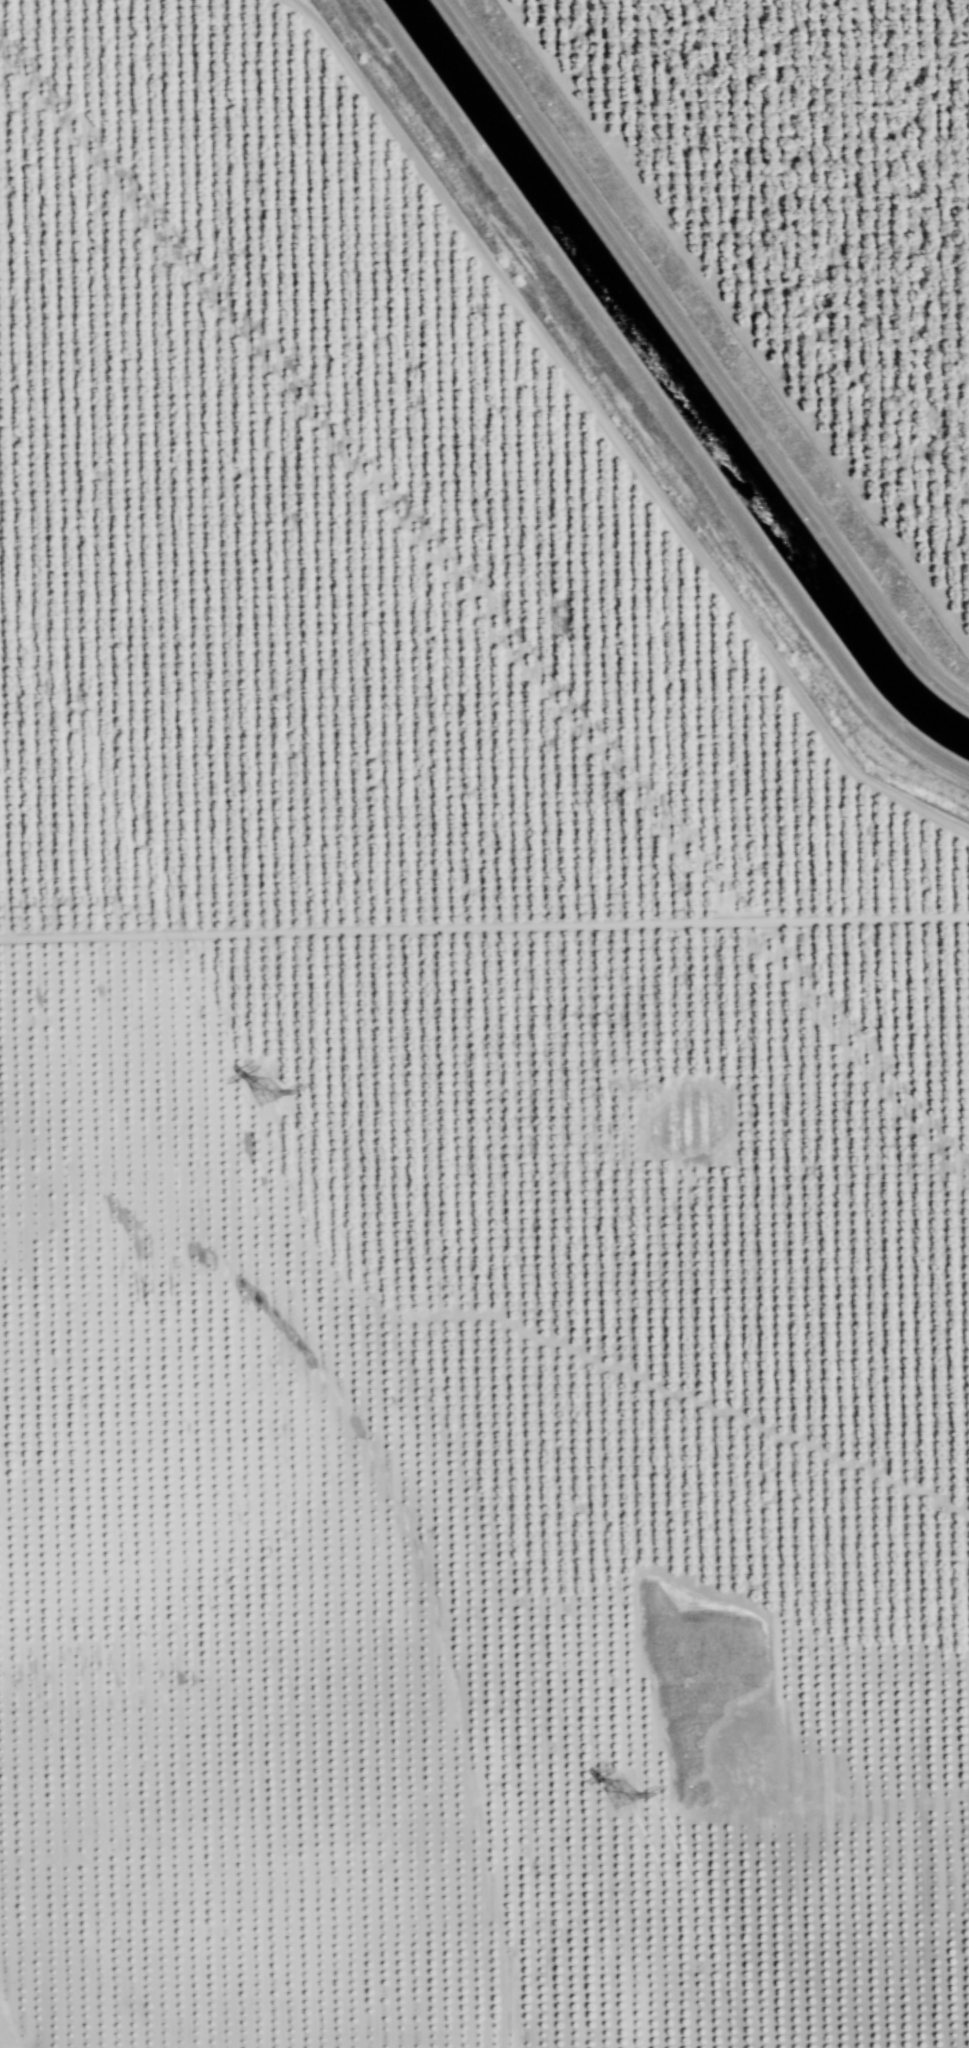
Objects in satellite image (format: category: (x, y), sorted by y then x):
road: (734, 324)
road: (702, 355)
road: (484, 926)
power tower: (274, 1093)
power tower: (626, 1793)

